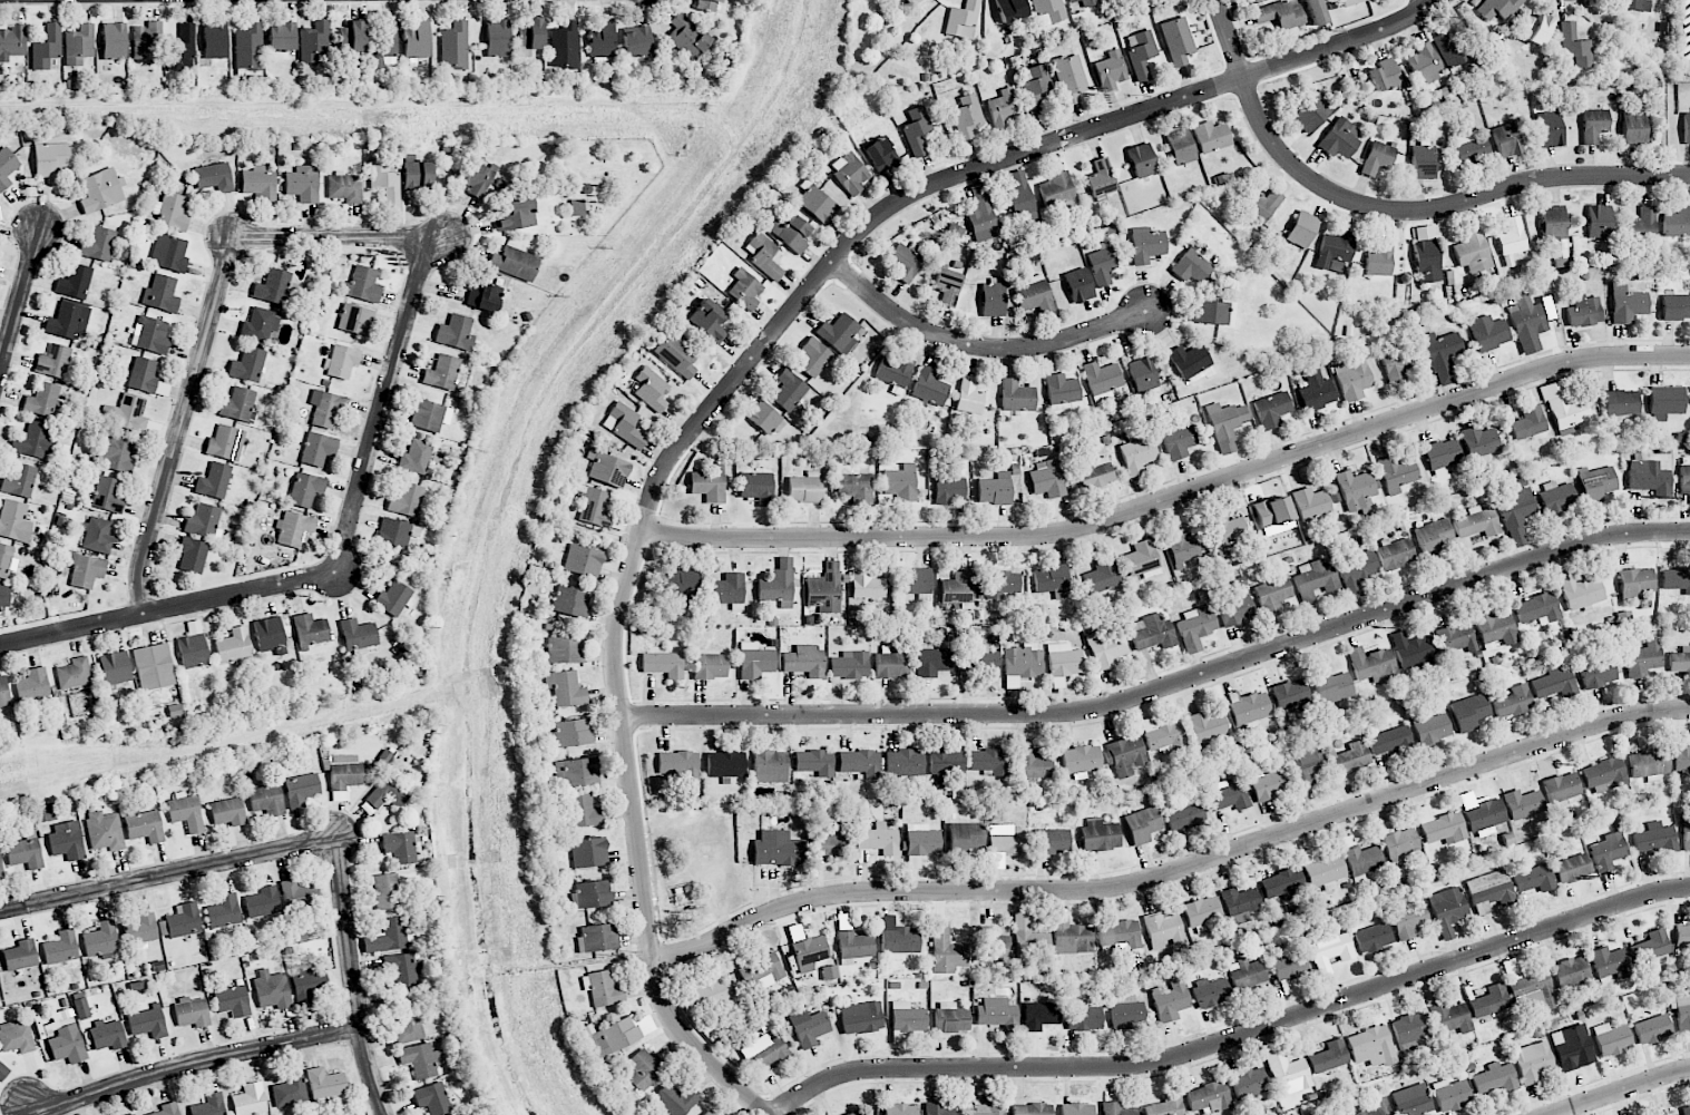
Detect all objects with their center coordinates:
building: (1251, 0)
building: (910, 1)
building: (1350, 2)
building: (1081, 3)
building: (706, 4)
road: (1426, 4)
building: (1633, 4)
building: (1498, 8)
building: (1010, 10)
building: (1047, 11)
building: (1315, 12)
building: (1279, 16)
building: (963, 22)
building: (1534, 28)
building: (352, 36)
building: (282, 37)
building: (529, 37)
building: (686, 37)
building: (497, 38)
building: (146, 39)
building: (214, 39)
building: (602, 39)
building: (417, 40)
building: (1176, 40)
building: (114, 41)
building: (12, 42)
building: (315, 42)
building: (637, 42)
building: (79, 45)
building: (384, 46)
building: (453, 46)
building: (564, 46)
building: (1574, 46)
building: (47, 47)
building: (248, 47)
building: (182, 49)
building: (1141, 53)
building: (1452, 55)
building: (1423, 65)
building: (1110, 70)
building: (1384, 75)
building: (1069, 78)
building: (1035, 88)
building: (1003, 109)
building: (1310, 113)
building: (967, 115)
building: (1593, 125)
building: (1687, 127)
building: (1550, 129)
building: (1633, 129)
building: (916, 130)
building: (1210, 136)
building: (1339, 138)
building: (1506, 140)
building: (1180, 147)
building: (1469, 147)
building: (880, 155)
building: (50, 158)
building: (1376, 158)
building: (1141, 160)
building: (1423, 163)
building: (7, 167)
building: (849, 173)
building: (416, 174)
building: (477, 176)
building: (214, 177)
building: (1101, 179)
building: (260, 183)
building: (303, 184)
building: (385, 184)
building: (344, 187)
building: (100, 190)
building: (1018, 193)
building: (817, 204)
building: (1262, 204)
building: (576, 207)
building: (170, 212)
road: (1395, 212)
building: (516, 215)
building: (981, 216)
building: (1598, 222)
building: (1552, 223)
building: (1677, 223)
building: (1642, 225)
building: (1301, 229)
building: (790, 233)
road: (331, 237)
building: (1511, 237)
building: (97, 244)
building: (1145, 244)
building: (1335, 251)
building: (1472, 252)
building: (170, 253)
building: (763, 255)
building: (1379, 260)
building: (1426, 261)
building: (905, 262)
building: (514, 263)
building: (1102, 264)
building: (1192, 267)
building: (75, 282)
building: (362, 285)
building: (1078, 285)
building: (272, 286)
building: (947, 286)
building: (743, 290)
building: (160, 293)
building: (1034, 294)
building: (482, 296)
road: (20, 300)
building: (993, 300)
building: (1625, 304)
building: (1676, 307)
building: (1209, 312)
building: (1584, 312)
building: (355, 320)
building: (67, 321)
building: (706, 321)
building: (1526, 323)
building: (258, 324)
building: (1488, 332)
building: (456, 333)
building: (839, 333)
building: (150, 335)
road: (769, 339)
road: (979, 345)
building: (675, 354)
building: (1442, 355)
building: (813, 358)
building: (1189, 360)
building: (53, 361)
building: (341, 361)
building: (1396, 361)
building: (247, 364)
building: (893, 371)
building: (442, 372)
building: (143, 374)
building: (1142, 374)
building: (1352, 376)
building: (1102, 379)
building: (929, 387)
building: (651, 389)
building: (789, 390)
building: (1062, 390)
building: (1316, 391)
building: (1016, 397)
building: (968, 398)
building: (42, 400)
building: (1620, 402)
building: (1664, 402)
building: (237, 405)
road: (383, 405)
building: (326, 408)
building: (1272, 409)
building: (1567, 410)
building: (125, 413)
building: (429, 415)
building: (764, 418)
building: (1528, 422)
building: (624, 424)
building: (1225, 424)
road: (179, 426)
building: (31, 440)
building: (1478, 441)
building: (225, 442)
building: (318, 449)
building: (116, 453)
building: (1137, 454)
building: (1440, 456)
building: (417, 457)
building: (608, 470)
building: (1094, 473)
building: (1396, 473)
building: (1648, 477)
building: (1047, 480)
building: (1684, 480)
building: (19, 481)
building: (214, 481)
building: (900, 482)
building: (709, 483)
building: (1595, 483)
building: (853, 485)
building: (756, 487)
building: (804, 488)
building: (305, 489)
building: (994, 489)
building: (948, 491)
building: (1355, 491)
building: (107, 496)
road: (1173, 497)
building: (1556, 497)
building: (406, 500)
building: (1310, 503)
building: (595, 507)
building: (1515, 510)
building: (1272, 516)
building: (14, 521)
building: (203, 521)
building: (1477, 522)
building: (293, 529)
building: (1225, 529)
building: (397, 532)
building: (97, 536)
building: (1435, 537)
building: (1181, 547)
building: (1396, 552)
building: (192, 555)
building: (4, 559)
building: (583, 560)
building: (1357, 569)
building: (86, 571)
building: (1101, 576)
building: (1676, 579)
building: (1316, 580)
building: (914, 581)
building: (1052, 581)
building: (681, 585)
building: (866, 585)
building: (1002, 585)
building: (778, 586)
building: (824, 588)
building: (958, 588)
building: (729, 590)
building: (1580, 591)
building: (1272, 594)
building: (3, 597)
building: (394, 599)
building: (570, 601)
building: (1537, 608)
road: (168, 610)
building: (1235, 610)
building: (1195, 627)
building: (1492, 628)
building: (312, 629)
building: (1151, 633)
building: (270, 636)
building: (358, 636)
building: (1456, 638)
building: (234, 647)
building: (1106, 648)
building: (565, 649)
building: (192, 651)
building: (1413, 651)
building: (1064, 659)
building: (1643, 659)
building: (755, 661)
building: (931, 661)
building: (978, 661)
building: (1023, 661)
building: (1680, 661)
building: (804, 662)
building: (663, 664)
building: (890, 664)
building: (1371, 664)
building: (849, 665)
building: (710, 666)
building: (153, 667)
building: (115, 668)
building: (1596, 671)
building: (74, 673)
building: (1554, 683)
building: (33, 684)
building: (1331, 686)
road: (1166, 687)
building: (565, 688)
building: (3, 693)
building: (1289, 694)
building: (1512, 702)
building: (1249, 708)
building: (1469, 712)
building: (1208, 725)
building: (1430, 727)
building: (570, 733)
building: (1391, 741)
building: (1125, 755)
building: (1351, 757)
building: (1681, 759)
building: (988, 761)
building: (1080, 761)
building: (814, 762)
building: (946, 762)
building: (859, 763)
building: (903, 763)
building: (725, 764)
building: (1032, 764)
building: (1648, 764)
building: (677, 766)
building: (770, 766)
building: (1307, 766)
building: (344, 772)
building: (577, 772)
building: (1604, 775)
building: (1268, 784)
building: (1561, 788)
building: (301, 790)
building: (389, 792)
building: (1228, 796)
building: (266, 800)
building: (1522, 804)
building: (582, 810)
building: (227, 811)
building: (186, 812)
building: (1185, 814)
building: (1484, 814)
building: (1142, 824)
building: (145, 827)
building: (1440, 827)
building: (105, 831)
building: (1686, 831)
building: (1098, 835)
building: (879, 838)
building: (966, 838)
building: (1655, 839)
building: (67, 841)
building: (1053, 841)
building: (1009, 842)
building: (921, 843)
building: (830, 844)
building: (1399, 844)
building: (399, 847)
building: (776, 849)
building: (1608, 851)
building: (588, 852)
building: (1362, 860)
building: (0, 868)
building: (1321, 868)
building: (1572, 869)
road: (1175, 872)
road: (169, 874)
building: (1534, 879)
building: (1283, 884)
building: (385, 891)
building: (1489, 891)
building: (594, 893)
building: (297, 896)
building: (1239, 901)
building: (262, 902)
building: (1448, 910)
building: (223, 911)
building: (1202, 911)
building: (1408, 920)
building: (180, 921)
building: (140, 929)
building: (1164, 930)
building: (392, 935)
building: (1120, 935)
building: (1682, 935)
building: (1071, 937)
building: (599, 938)
building: (1029, 938)
building: (1372, 938)
building: (100, 939)
building: (898, 939)
building: (853, 945)
building: (993, 946)
building: (1652, 946)
building: (60, 948)
building: (946, 950)
building: (1329, 950)
building: (809, 952)
building: (20, 955)
building: (1610, 962)
building: (1288, 964)
building: (403, 969)
building: (762, 971)
building: (1570, 971)
building: (1247, 975)
road: (355, 977)
building: (307, 984)
building: (1534, 987)
building: (602, 988)
building: (272, 989)
building: (714, 991)
building: (1210, 992)
building: (1170, 1000)
building: (232, 1001)
building: (1489, 1001)
building: (81, 1008)
building: (1126, 1011)
building: (1681, 1011)
building: (192, 1013)
building: (996, 1013)
building: (1041, 1015)
building: (861, 1017)
building: (907, 1017)
building: (950, 1018)
building: (1084, 1018)
building: (1449, 1018)
building: (147, 1023)
building: (407, 1025)
building: (809, 1028)
building: (1651, 1028)
building: (1410, 1029)
building: (621, 1034)
building: (107, 1035)
building: (16, 1037)
road: (1238, 1038)
building: (1612, 1039)
building: (67, 1045)
building: (1371, 1047)
building: (1572, 1047)
building: (764, 1053)
building: (1328, 1057)
building: (420, 1059)
road: (192, 1062)
building: (1533, 1062)
building: (642, 1069)
building: (2, 1072)
building: (1287, 1073)
building: (1495, 1079)
building: (1249, 1083)
road: (732, 1084)
building: (324, 1086)
road: (1619, 1089)
building: (290, 1092)
building: (1452, 1095)
building: (1209, 1097)
building: (431, 1098)
building: (673, 1098)
building: (250, 1099)
building: (1411, 1101)
building: (209, 1105)
building: (1166, 1106)
building: (1377, 1107)
building: (1077, 1108)
building: (167, 1109)
building: (900, 1109)
building: (938, 1109)
building: (985, 1109)
building: (1032, 1109)
building: (1117, 1109)
building: (1686, 1111)
building: (710, 1112)
building: (857, 1113)
building: (133, 1114)

